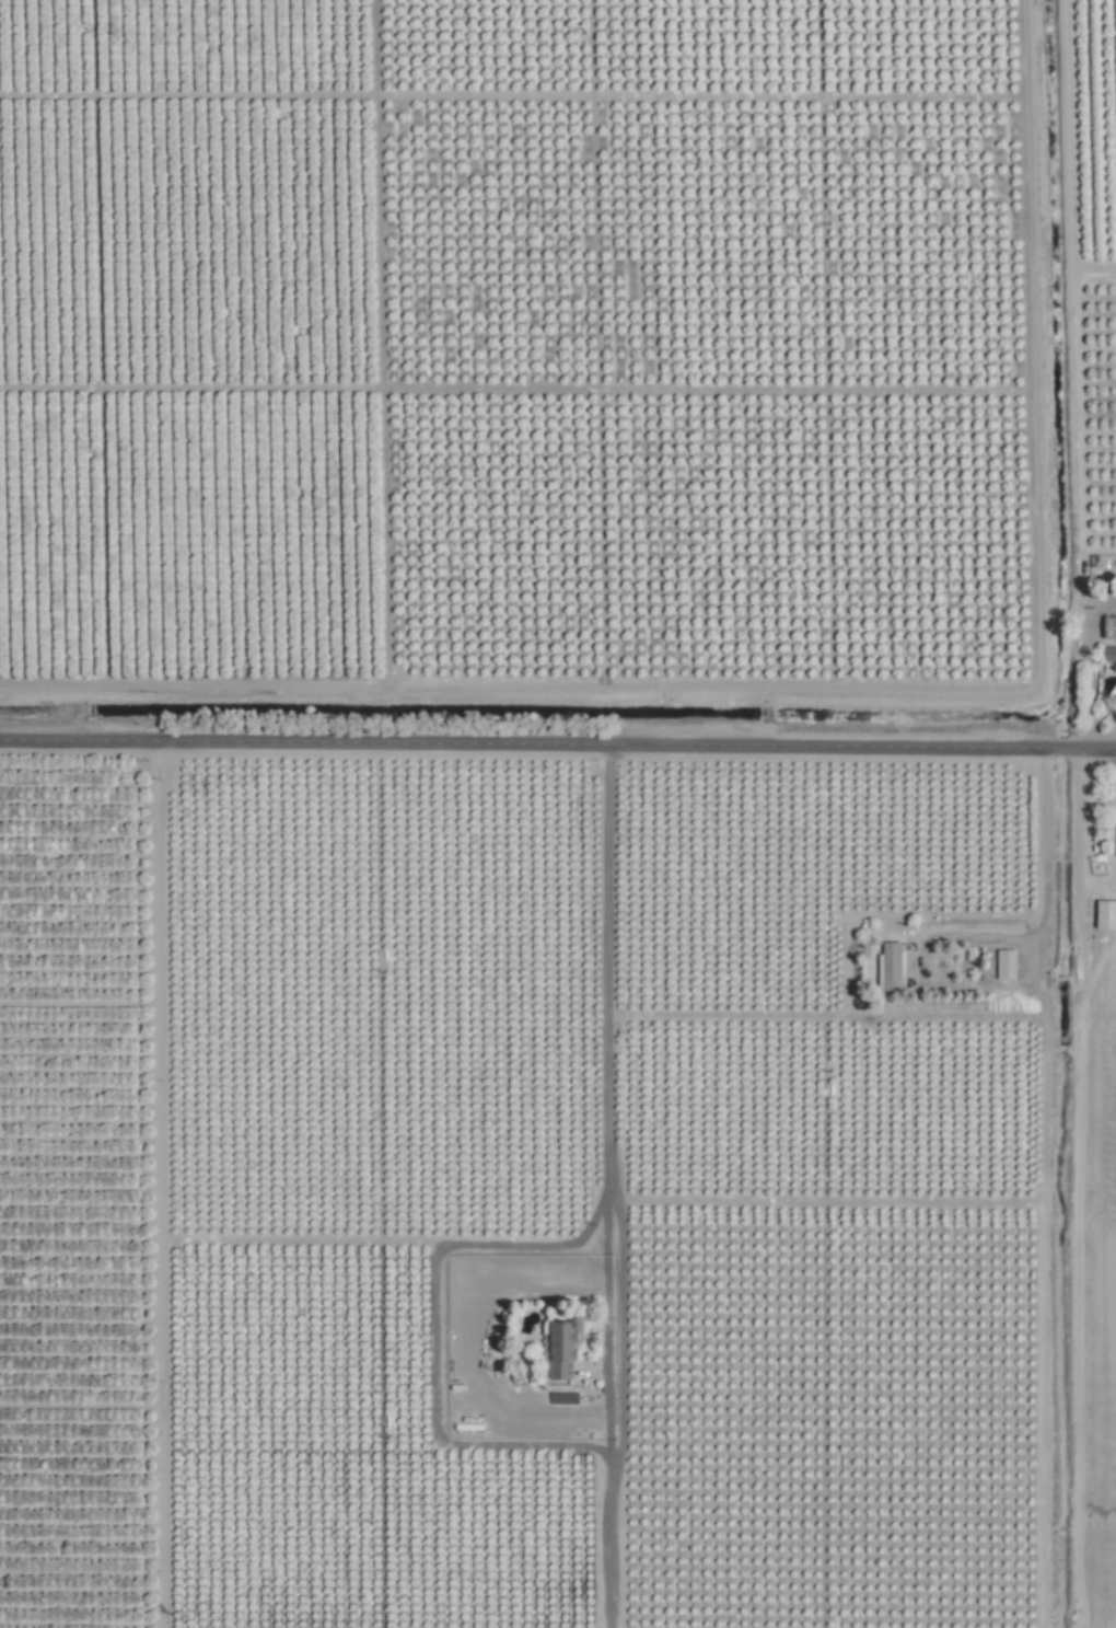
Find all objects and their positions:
road: (1095, 269)
road: (1076, 308)
building: (1107, 626)
road: (1091, 666)
road: (523, 742)
road: (1058, 747)
road: (1093, 748)
crop: (558, 813)
building: (1104, 914)
road: (921, 962)
building: (1003, 963)
building: (890, 966)
road: (957, 1015)
building: (557, 1351)
road: (619, 1359)

